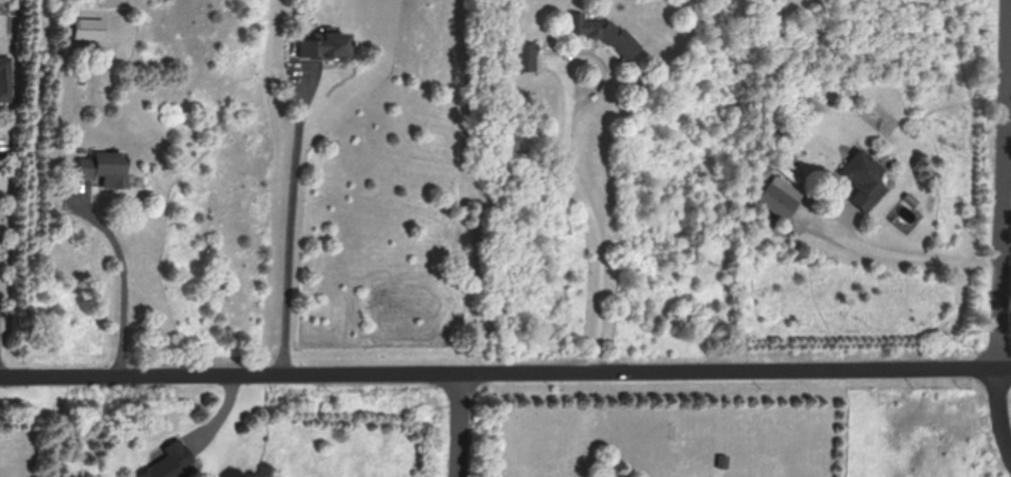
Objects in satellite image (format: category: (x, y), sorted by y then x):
building: (91, 30)
building: (328, 49)
building: (526, 58)
building: (6, 81)
building: (107, 170)
building: (864, 181)
building: (777, 202)
road: (596, 216)
road: (291, 227)
road: (1003, 252)
road: (919, 258)
road: (128, 280)
road: (505, 375)
road: (460, 426)
building: (170, 460)

